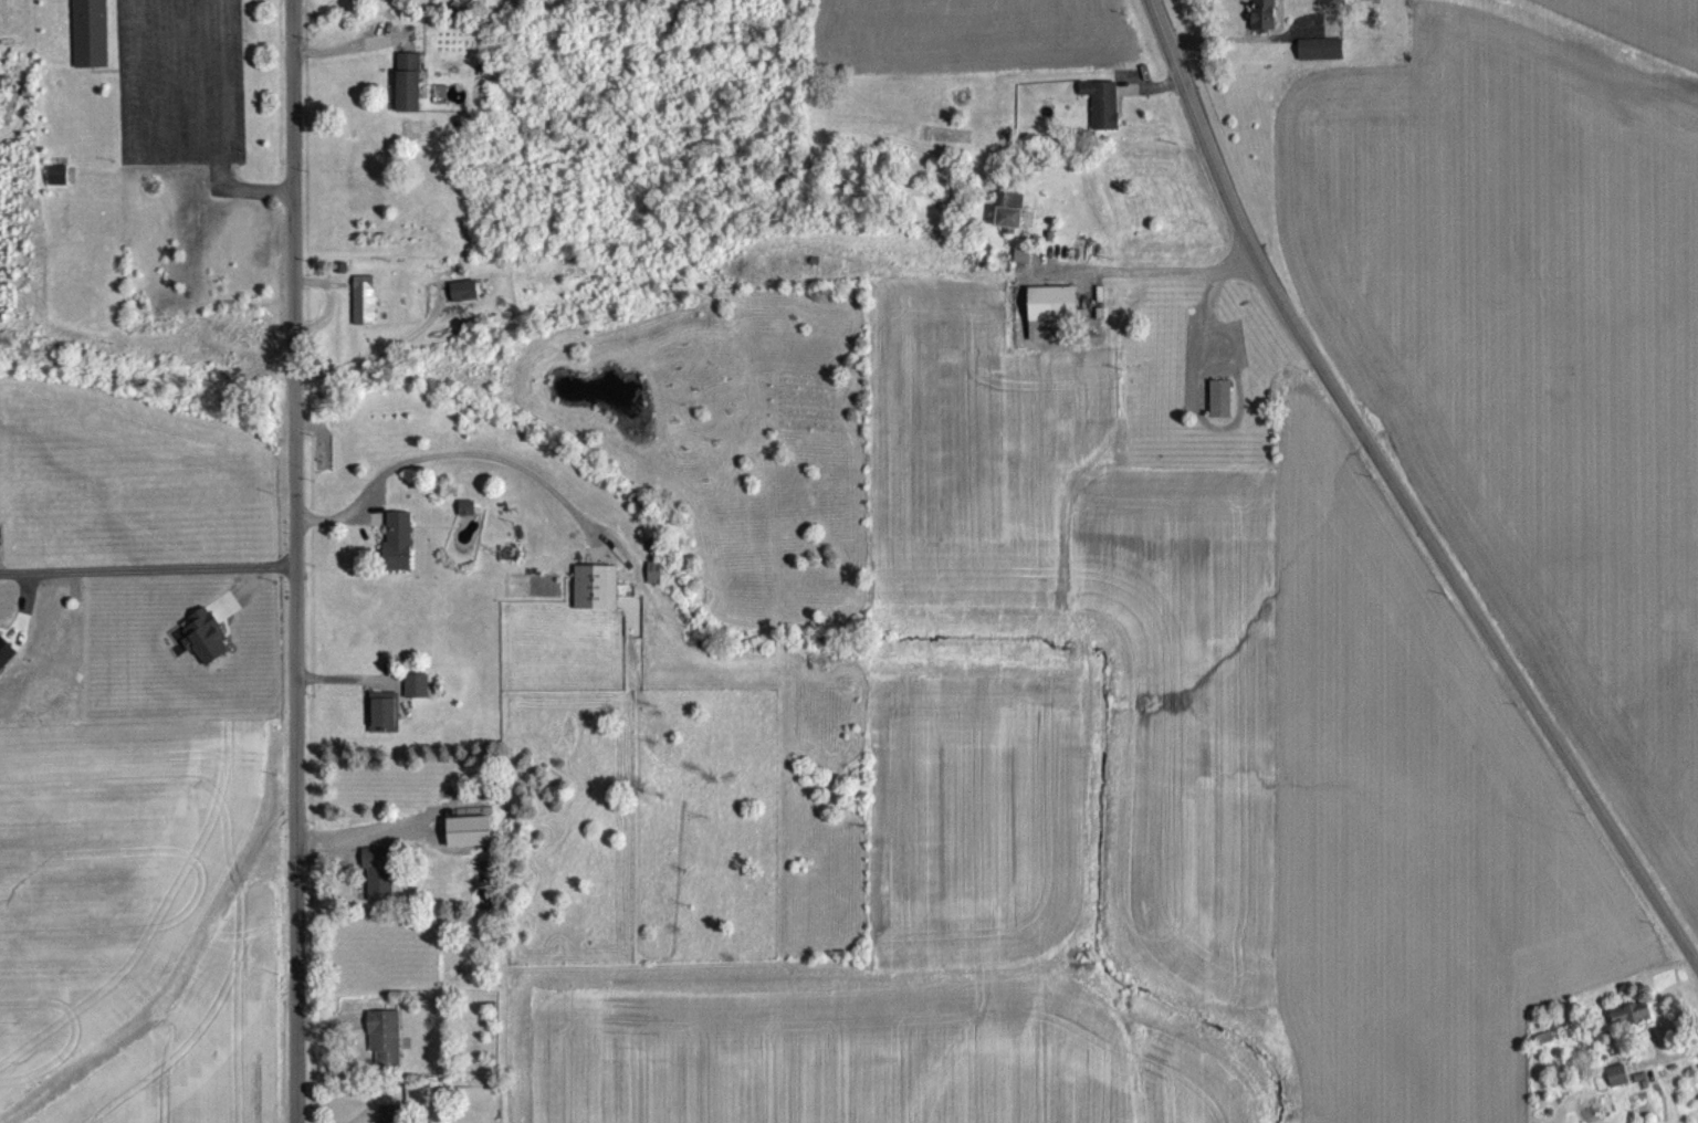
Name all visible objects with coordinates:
building: (1264, 24)
building: (91, 40)
building: (1321, 61)
road: (220, 76)
building: (408, 95)
building: (1102, 116)
road: (242, 189)
building: (1010, 223)
road: (1147, 261)
building: (463, 303)
building: (364, 312)
building: (1052, 325)
road: (379, 349)
building: (1220, 411)
road: (453, 452)
road: (1401, 490)
building: (467, 519)
building: (397, 554)
road: (293, 560)
road: (146, 568)
building: (654, 585)
building: (596, 599)
building: (206, 649)
building: (416, 697)
building: (384, 724)
building: (469, 843)
building: (379, 885)
building: (1629, 1027)
building: (385, 1050)
building: (1617, 1088)
building: (389, 1120)

